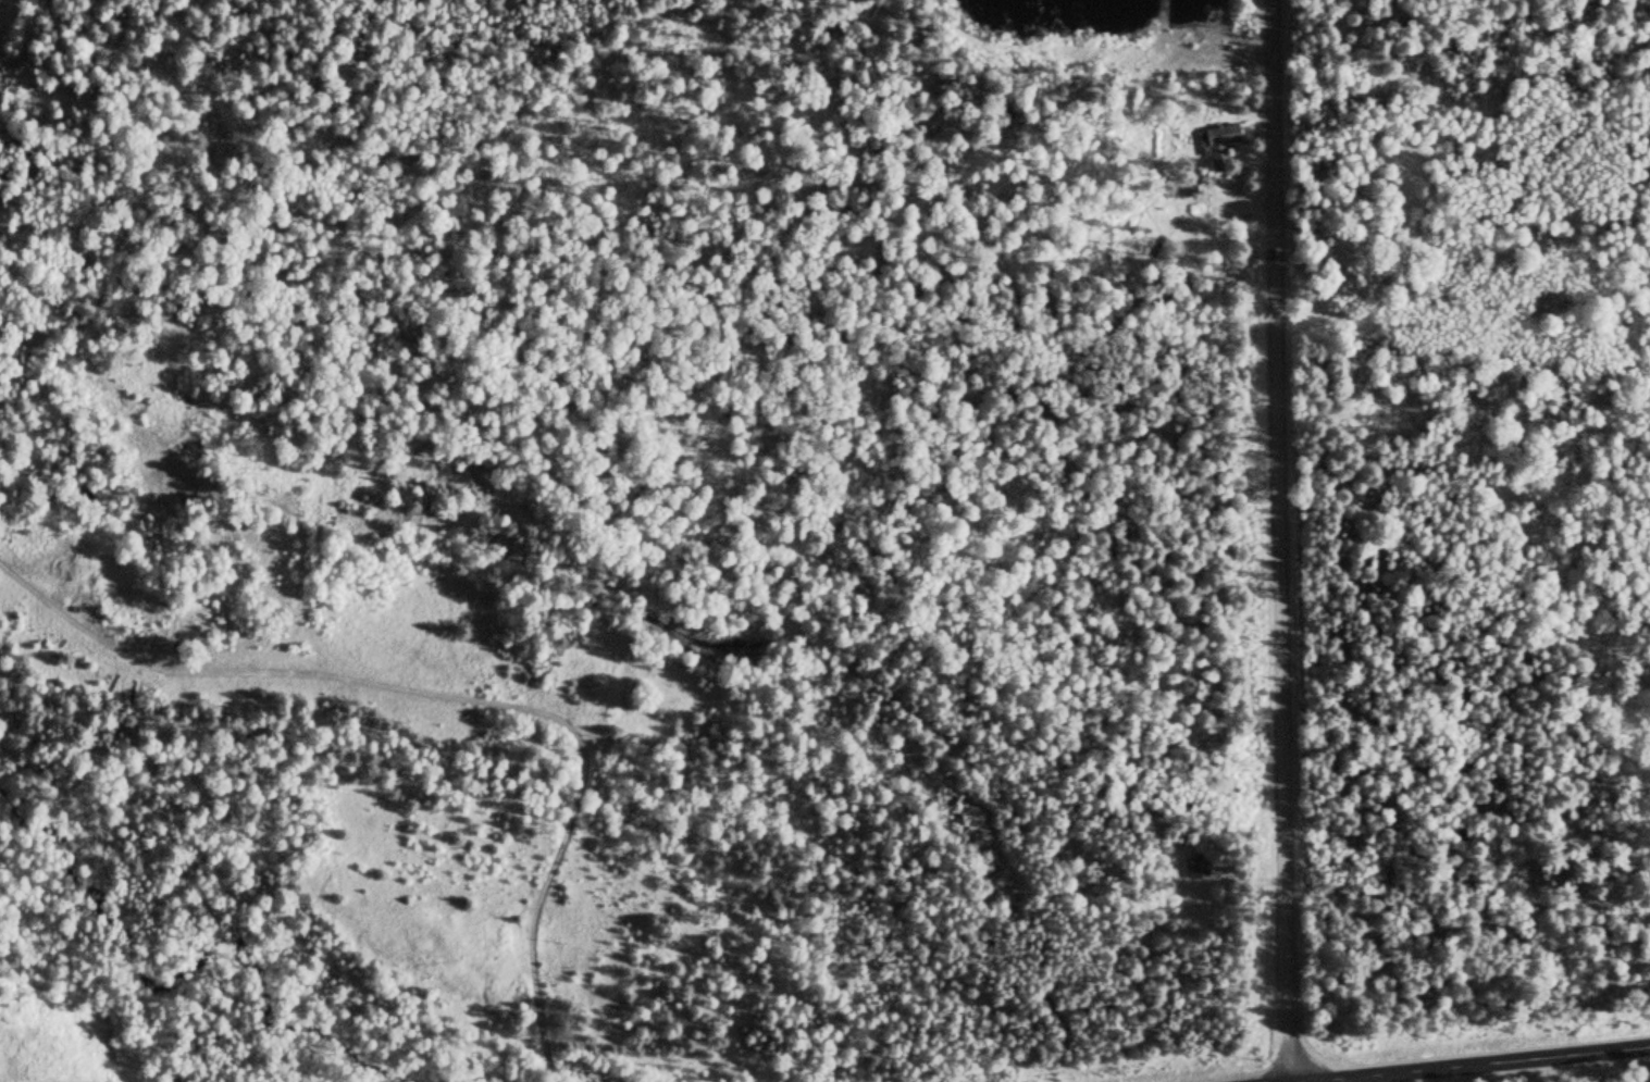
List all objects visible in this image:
building: (1216, 146)
road: (1281, 540)
building: (1194, 867)
road: (1486, 1065)

